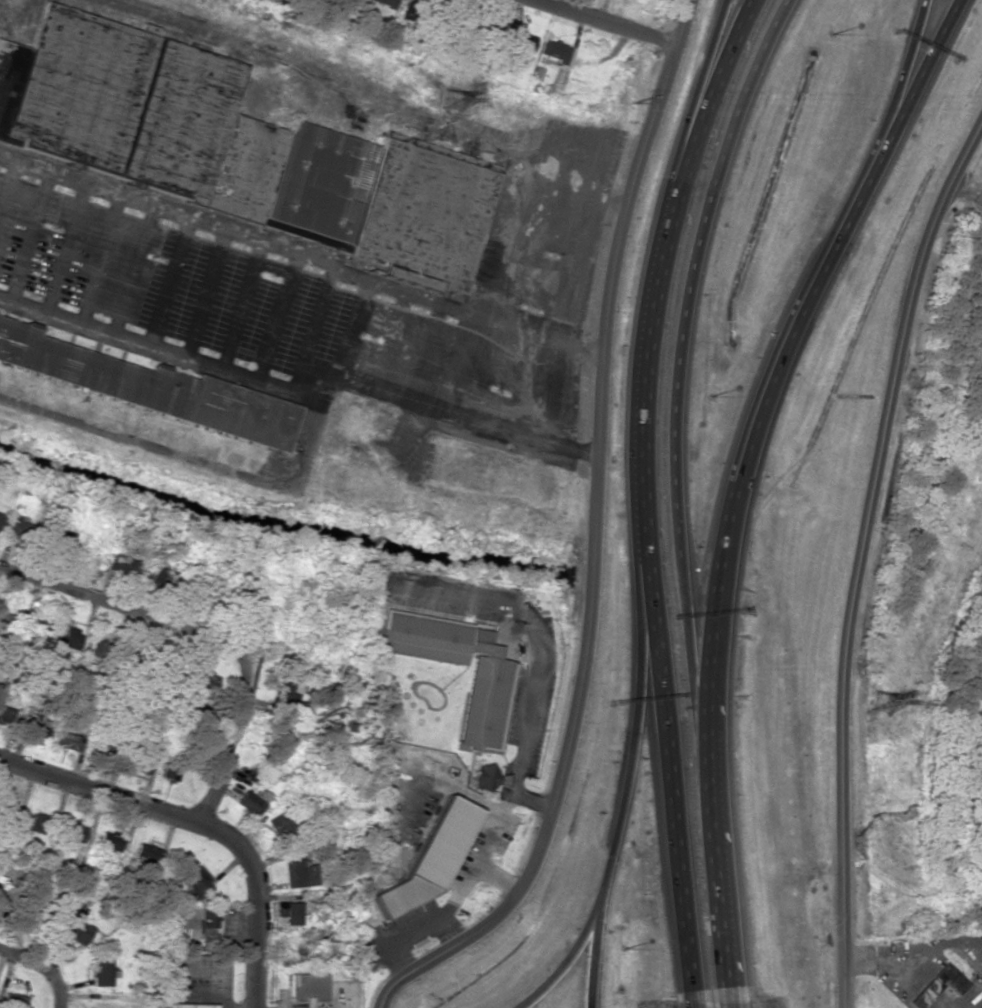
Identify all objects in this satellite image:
building: (385, 2)
road: (748, 6)
road: (749, 6)
road: (600, 22)
building: (517, 41)
building: (553, 50)
building: (9, 74)
road: (896, 89)
road: (694, 96)
power tower: (453, 102)
power tower: (632, 105)
building: (140, 112)
building: (373, 202)
road: (699, 247)
building: (145, 380)
road: (771, 396)
road: (644, 489)
building: (1, 520)
building: (20, 528)
road: (592, 537)
building: (61, 542)
road: (860, 556)
building: (125, 565)
building: (69, 635)
road: (206, 635)
building: (102, 649)
road: (689, 667)
building: (483, 706)
power tower: (878, 706)
building: (4, 715)
building: (36, 724)
building: (68, 741)
road: (632, 745)
building: (170, 773)
building: (485, 777)
road: (99, 791)
building: (250, 802)
building: (41, 822)
building: (282, 822)
building: (74, 832)
building: (428, 859)
building: (194, 879)
road: (254, 901)
road: (717, 903)
building: (289, 912)
building: (76, 926)
building: (195, 928)
road: (595, 945)
building: (186, 965)
road: (43, 966)
building: (101, 970)
building: (942, 982)
building: (307, 988)
road: (694, 993)
road: (725, 994)
building: (12, 1001)

